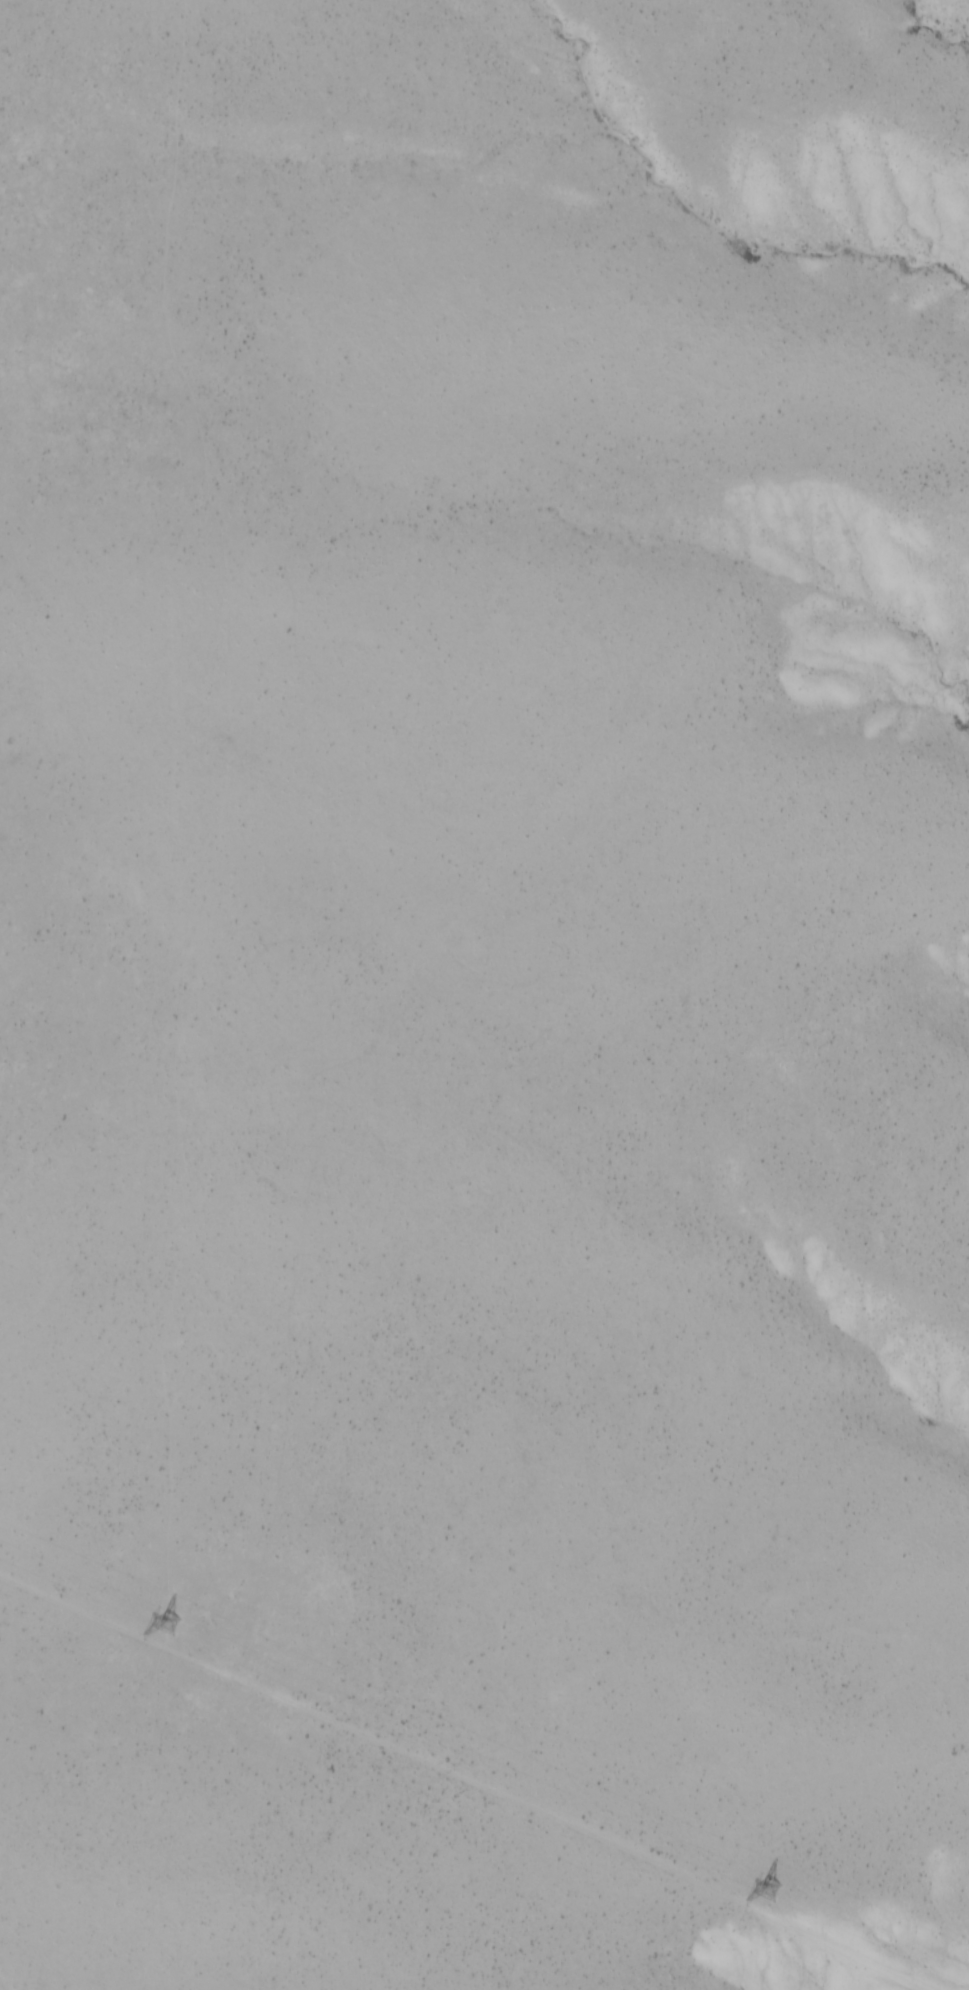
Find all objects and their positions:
power tower: (180, 1625)
power tower: (781, 1894)

